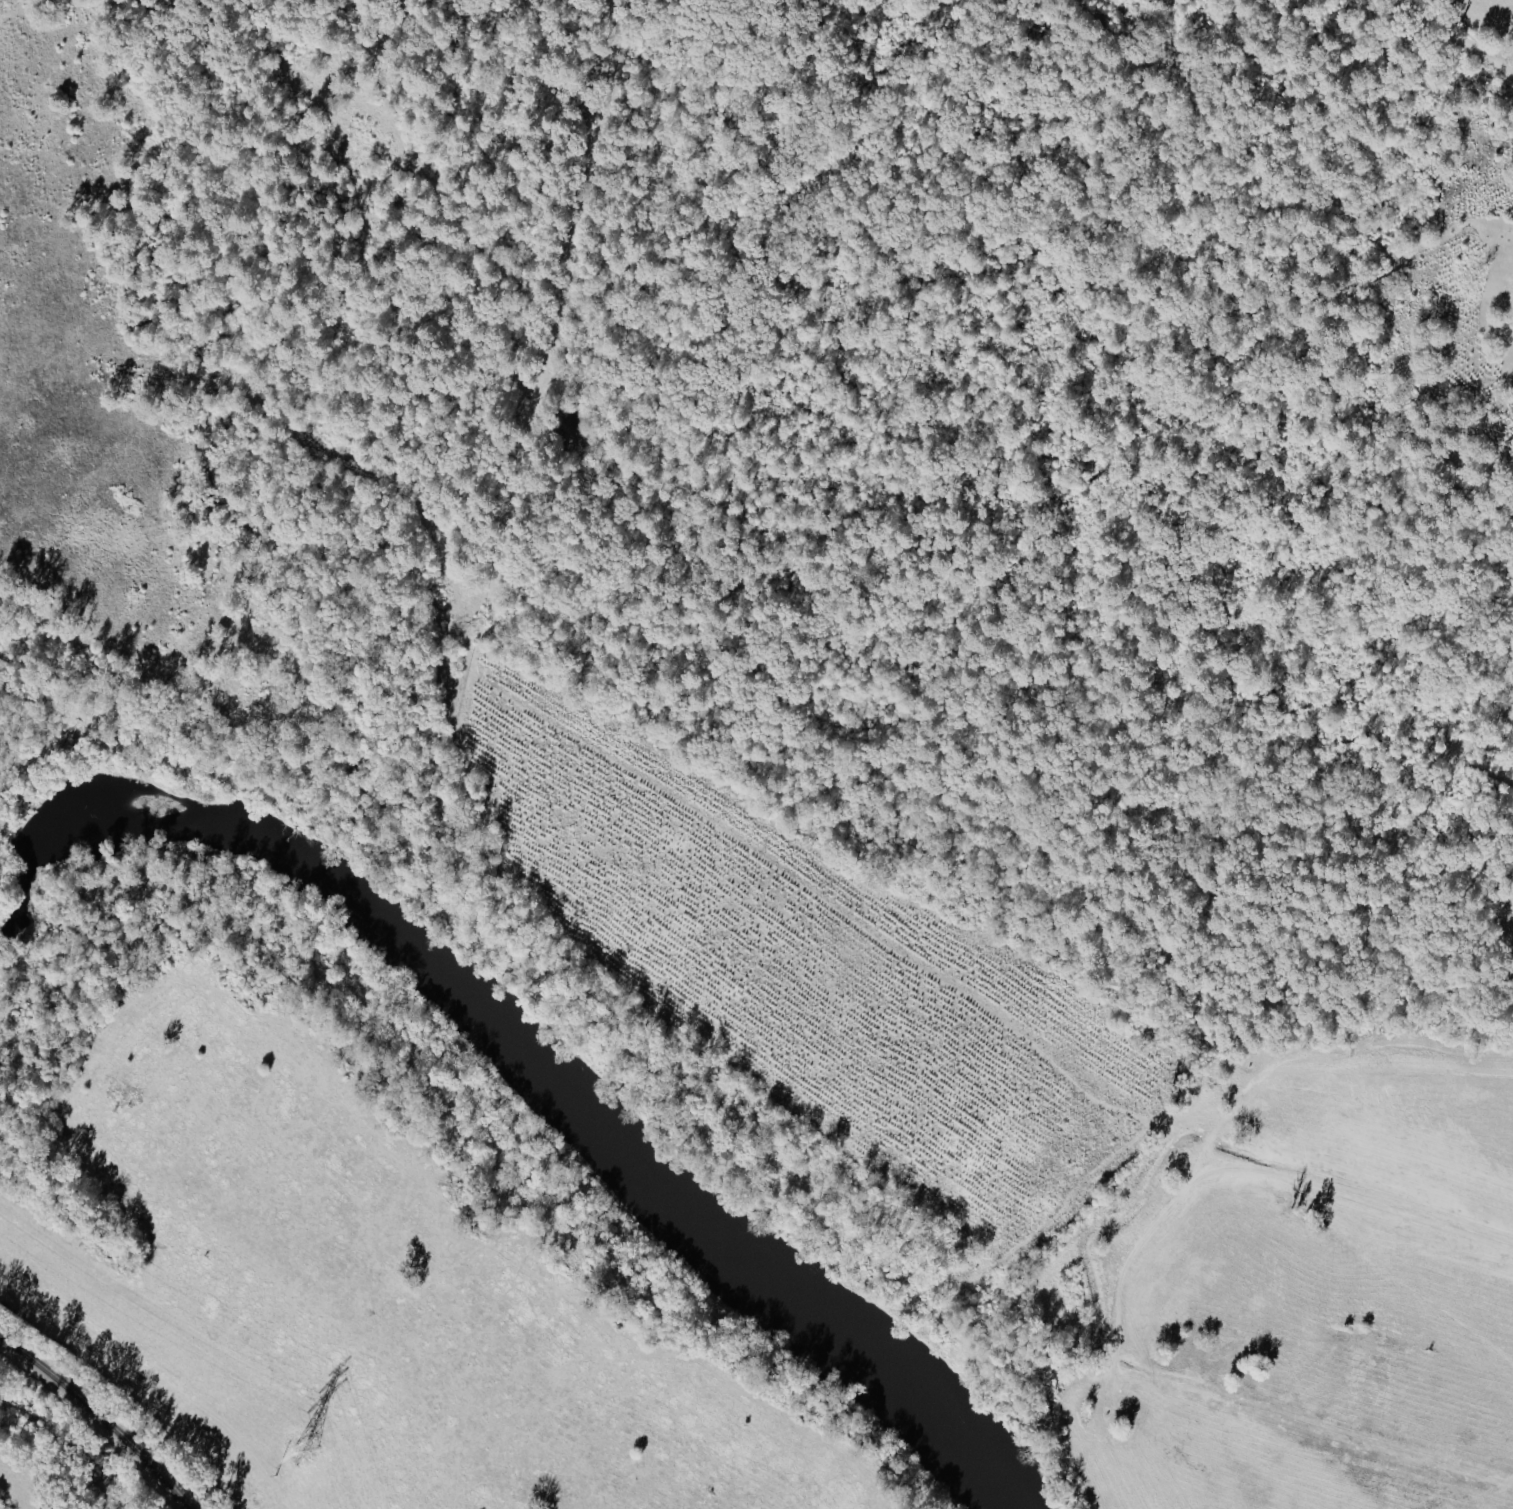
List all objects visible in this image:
river: (495, 1029)
railway: (98, 1418)
power tower: (300, 1453)

